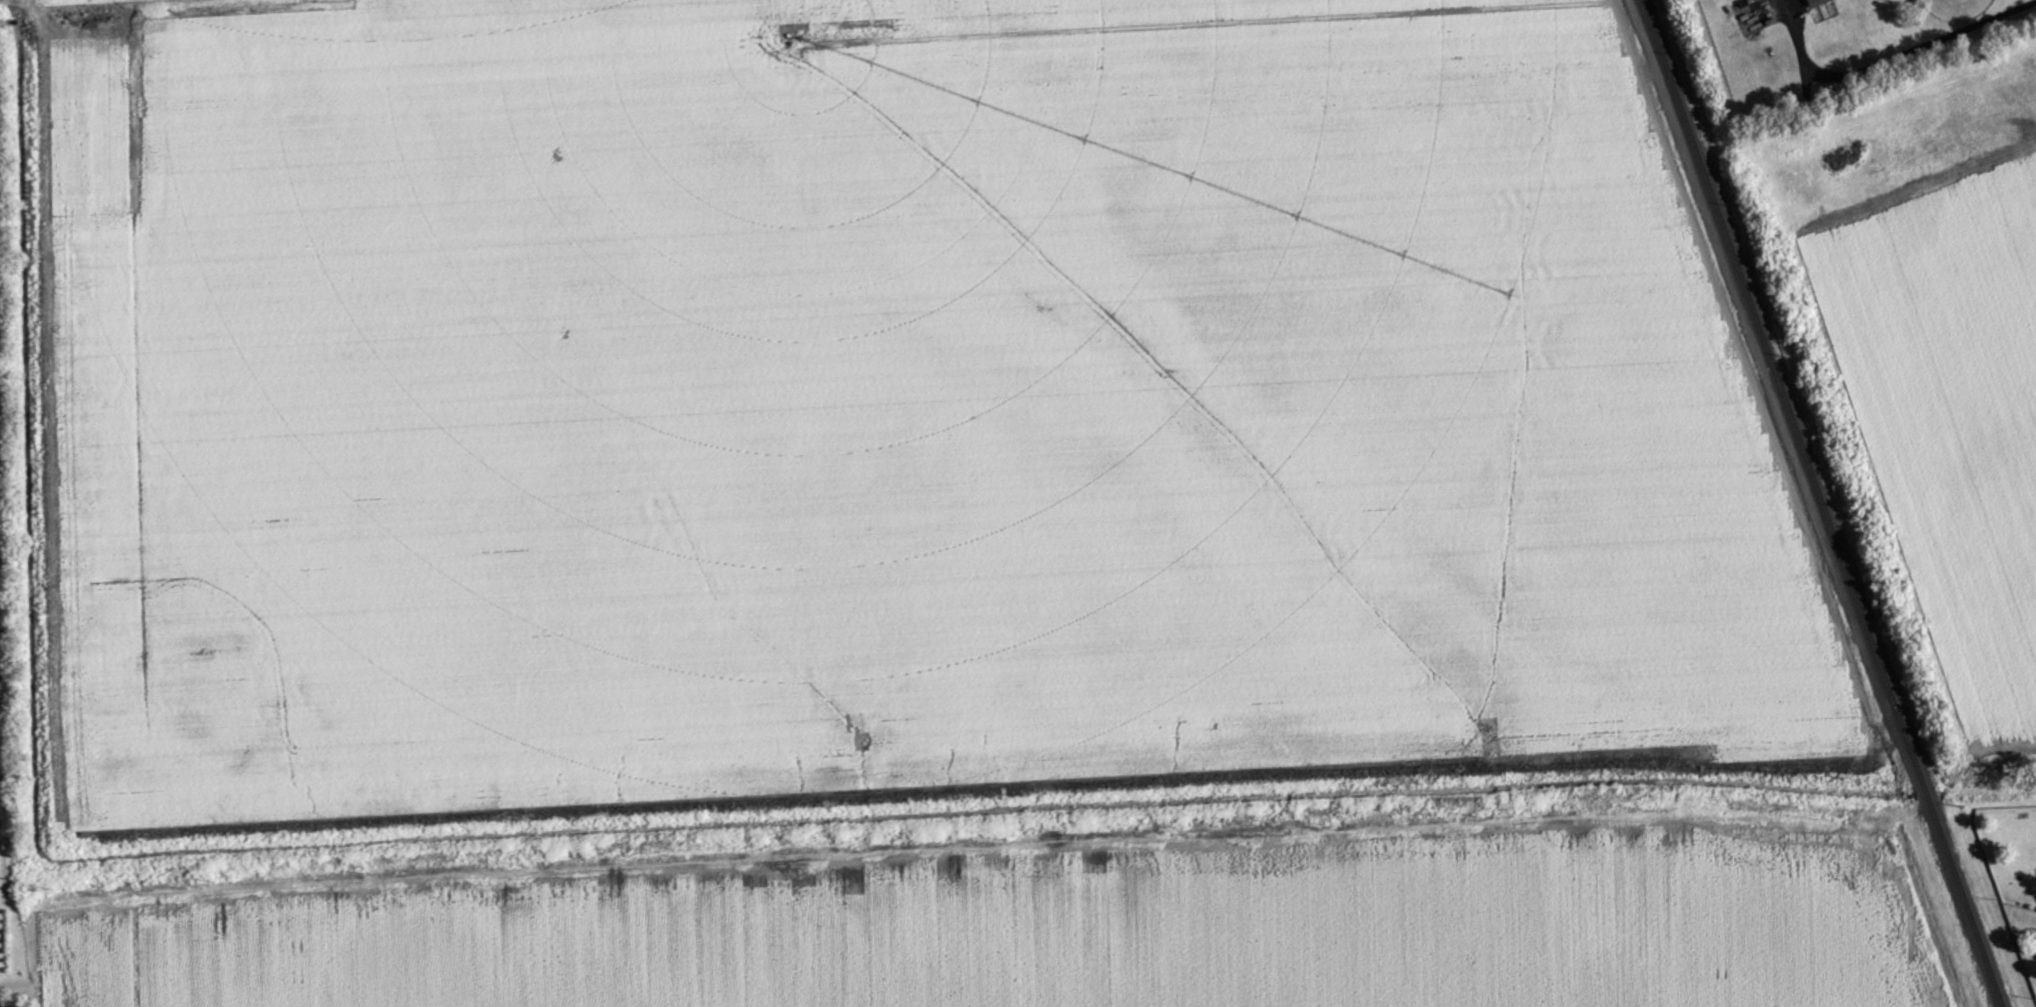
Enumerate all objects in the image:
building: (1818, 2)
railway: (1826, 503)

